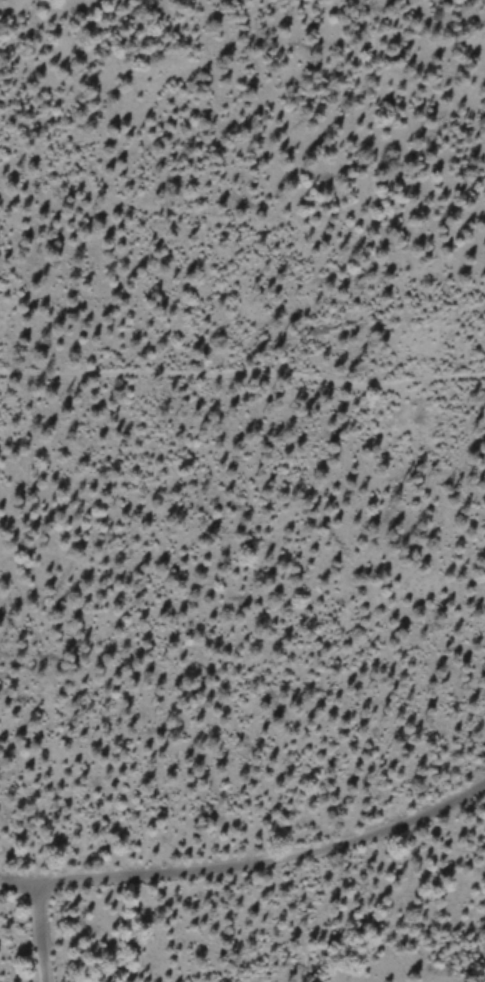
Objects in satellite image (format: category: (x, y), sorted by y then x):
road: (242, 382)
road: (221, 868)

